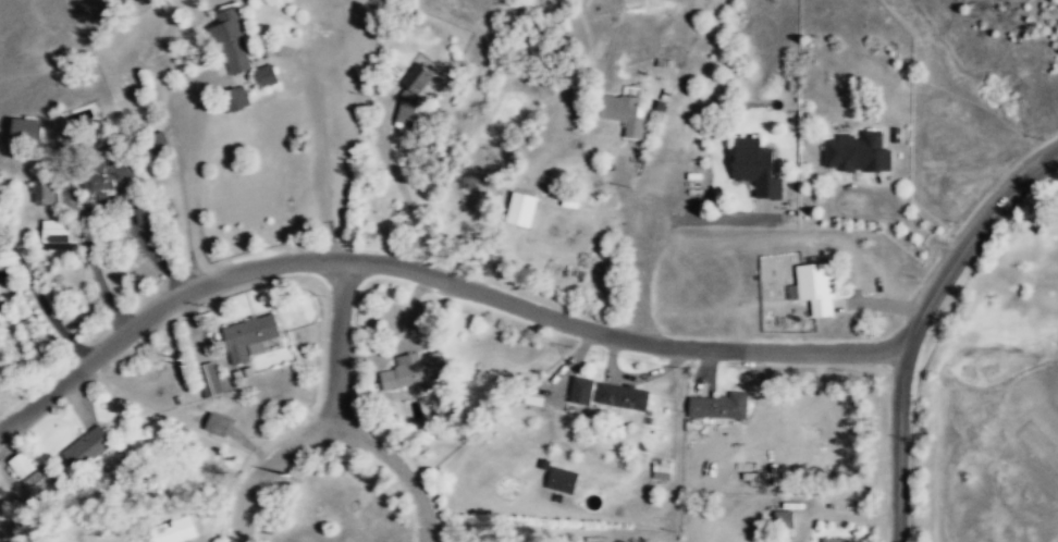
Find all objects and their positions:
building: (230, 40)
building: (262, 76)
building: (414, 81)
building: (235, 98)
building: (404, 111)
building: (620, 113)
building: (24, 130)
road: (316, 134)
building: (854, 153)
building: (753, 168)
building: (103, 182)
road: (188, 183)
road: (401, 188)
building: (42, 189)
building: (519, 209)
building: (139, 215)
building: (53, 235)
road: (433, 274)
road: (643, 283)
building: (814, 288)
road: (919, 323)
building: (248, 335)
road: (337, 349)
building: (413, 371)
building: (207, 380)
building: (579, 391)
building: (619, 396)
building: (716, 407)
building: (216, 426)
road: (335, 439)
building: (86, 447)
building: (19, 466)
building: (559, 480)
building: (37, 481)
building: (782, 519)
building: (173, 532)
building: (832, 540)

